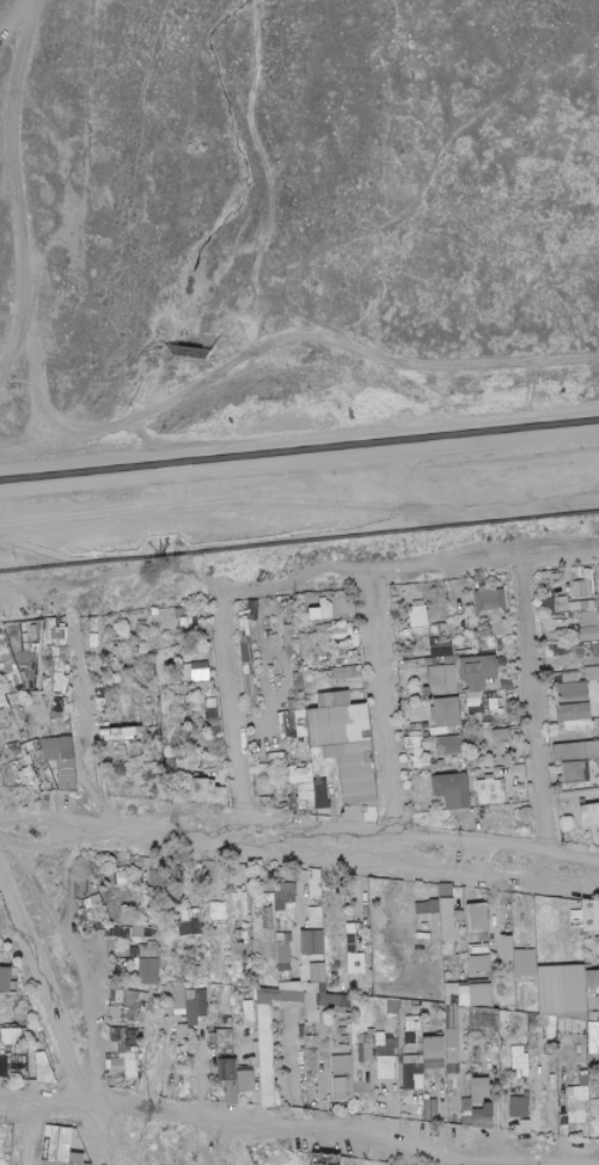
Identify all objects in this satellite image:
road: (17, 22)
road: (17, 183)
road: (172, 396)
road: (299, 437)
road: (299, 460)
road: (299, 527)
road: (4, 554)
road: (409, 565)
road: (110, 573)
building: (587, 581)
building: (592, 581)
building: (550, 585)
building: (506, 587)
building: (581, 587)
building: (324, 593)
building: (340, 593)
building: (352, 598)
building: (322, 599)
building: (561, 599)
building: (285, 600)
building: (418, 602)
building: (490, 602)
building: (549, 604)
building: (595, 604)
building: (302, 606)
building: (575, 606)
building: (253, 609)
building: (326, 610)
building: (181, 612)
building: (314, 612)
building: (126, 614)
building: (572, 615)
building: (483, 616)
building: (155, 617)
building: (511, 617)
building: (591, 617)
building: (90, 618)
building: (94, 620)
building: (141, 620)
building: (397, 621)
building: (420, 621)
building: (184, 622)
building: (268, 622)
building: (340, 624)
building: (325, 626)
building: (490, 626)
building: (507, 626)
building: (497, 627)
building: (287, 628)
building: (310, 628)
building: (145, 629)
building: (244, 629)
building: (355, 630)
building: (61, 632)
building: (329, 632)
building: (408, 632)
building: (579, 632)
building: (589, 633)
building: (51, 634)
building: (508, 634)
building: (30, 635)
building: (269, 635)
building: (288, 638)
building: (342, 638)
building: (463, 638)
building: (420, 639)
building: (355, 640)
building: (487, 641)
building: (548, 642)
building: (124, 644)
building: (550, 647)
building: (595, 647)
building: (579, 648)
building: (561, 649)
building: (6, 651)
building: (246, 652)
building: (359, 654)
building: (450, 659)
building: (430, 660)
building: (104, 661)
building: (411, 663)
building: (497, 665)
building: (591, 665)
building: (67, 666)
building: (11, 667)
building: (249, 667)
building: (472, 667)
building: (300, 669)
building: (201, 670)
building: (188, 671)
building: (271, 671)
building: (359, 671)
building: (344, 672)
building: (592, 672)
building: (328, 673)
building: (0, 675)
building: (354, 678)
building: (555, 678)
building: (18, 679)
building: (312, 679)
building: (318, 679)
building: (442, 679)
building: (306, 681)
building: (326, 681)
building: (336, 681)
building: (115, 682)
building: (35, 683)
building: (588, 683)
building: (10, 684)
building: (60, 684)
building: (317, 684)
building: (338, 685)
building: (476, 685)
building: (250, 689)
building: (280, 689)
building: (300, 690)
building: (318, 690)
building: (100, 691)
building: (308, 691)
building: (360, 691)
building: (427, 691)
building: (573, 693)
building: (316, 695)
building: (319, 696)
building: (43, 697)
building: (335, 699)
building: (408, 701)
building: (494, 702)
road: (536, 702)
building: (59, 706)
road: (233, 707)
building: (212, 708)
building: (251, 708)
building: (446, 710)
building: (573, 710)
road: (380, 715)
building: (409, 718)
building: (215, 721)
building: (204, 722)
building: (292, 722)
building: (302, 722)
building: (417, 722)
building: (55, 724)
building: (337, 725)
building: (582, 725)
building: (567, 726)
road: (81, 727)
building: (562, 727)
building: (139, 728)
building: (129, 730)
building: (446, 730)
building: (159, 731)
building: (216, 731)
building: (140, 732)
building: (517, 732)
building: (588, 732)
building: (111, 733)
building: (512, 733)
building: (500, 734)
building: (126, 736)
building: (295, 739)
building: (429, 739)
building: (123, 740)
building: (110, 743)
building: (451, 744)
building: (51, 746)
building: (67, 746)
building: (433, 746)
building: (126, 748)
building: (305, 749)
building: (591, 749)
building: (441, 750)
building: (569, 751)
building: (263, 761)
building: (66, 763)
building: (440, 763)
building: (172, 764)
building: (353, 767)
building: (575, 770)
building: (299, 774)
building: (27, 775)
building: (67, 779)
building: (172, 780)
building: (204, 788)
building: (452, 789)
building: (490, 789)
building: (292, 791)
building: (185, 792)
building: (320, 792)
building: (220, 798)
building: (302, 799)
building: (267, 800)
building: (582, 801)
building: (588, 803)
building: (282, 804)
building: (359, 811)
building: (463, 813)
building: (589, 813)
road: (178, 828)
road: (477, 843)
building: (159, 861)
building: (135, 862)
building: (130, 868)
road: (475, 872)
building: (300, 873)
building: (158, 874)
building: (122, 877)
building: (109, 880)
building: (132, 880)
building: (331, 883)
building: (124, 884)
building: (317, 884)
building: (434, 889)
building: (446, 891)
building: (155, 893)
building: (484, 897)
building: (147, 899)
building: (263, 902)
building: (319, 902)
building: (240, 903)
building: (287, 903)
building: (115, 904)
building: (434, 905)
building: (276, 907)
building: (422, 907)
building: (152, 909)
building: (338, 911)
building: (219, 913)
building: (463, 913)
building: (458, 915)
building: (187, 916)
building: (238, 916)
building: (268, 916)
building: (477, 916)
building: (591, 916)
building: (316, 919)
building: (447, 919)
building: (577, 919)
building: (140, 921)
building: (149, 922)
building: (463, 923)
building: (191, 926)
building: (237, 926)
building: (286, 926)
building: (508, 926)
building: (117, 931)
building: (147, 931)
building: (282, 931)
building: (127, 932)
building: (136, 933)
building: (243, 935)
building: (280, 937)
building: (288, 937)
building: (109, 938)
building: (352, 938)
building: (129, 939)
building: (154, 940)
building: (312, 941)
building: (507, 947)
building: (524, 947)
building: (148, 950)
building: (134, 951)
building: (283, 951)
building: (450, 953)
building: (312, 959)
building: (464, 959)
building: (508, 962)
building: (283, 963)
building: (357, 963)
building: (479, 963)
building: (153, 964)
building: (283, 972)
building: (13, 974)
building: (153, 977)
building: (5, 978)
building: (317, 978)
building: (592, 978)
building: (289, 984)
building: (13, 986)
building: (170, 992)
building: (452, 993)
building: (464, 993)
building: (479, 994)
building: (118, 995)
building: (280, 995)
building: (369, 995)
building: (592, 999)
building: (171, 1000)
building: (335, 1000)
building: (136, 1001)
building: (311, 1001)
building: (23, 1002)
building: (264, 1002)
building: (143, 1005)
building: (196, 1005)
building: (247, 1005)
building: (158, 1011)
building: (208, 1011)
building: (126, 1012)
building: (24, 1015)
building: (142, 1015)
building: (452, 1015)
building: (593, 1015)
building: (464, 1017)
building: (481, 1017)
building: (227, 1020)
building: (542, 1020)
building: (132, 1023)
building: (300, 1023)
building: (494, 1024)
building: (572, 1025)
building: (16, 1026)
building: (349, 1027)
road: (48, 1029)
building: (115, 1029)
building: (371, 1030)
building: (412, 1031)
building: (14, 1032)
building: (246, 1032)
building: (453, 1032)
building: (128, 1033)
building: (551, 1033)
building: (440, 1035)
building: (564, 1036)
building: (593, 1036)
building: (35, 1037)
building: (380, 1038)
building: (496, 1038)
building: (177, 1039)
building: (213, 1039)
building: (225, 1039)
building: (475, 1042)
building: (122, 1045)
building: (133, 1045)
building: (367, 1047)
building: (10, 1048)
building: (141, 1050)
building: (17, 1051)
building: (38, 1053)
building: (433, 1053)
building: (126, 1054)
building: (226, 1054)
building: (48, 1055)
building: (141, 1055)
building: (267, 1055)
building: (312, 1055)
building: (453, 1056)
building: (14, 1059)
building: (397, 1060)
building: (385, 1062)
building: (130, 1063)
building: (466, 1063)
building: (120, 1065)
building: (16, 1067)
building: (1, 1068)
building: (244, 1068)
building: (139, 1069)
building: (472, 1071)
building: (429, 1072)
building: (120, 1074)
building: (134, 1075)
building: (344, 1075)
building: (583, 1075)
building: (24, 1076)
building: (228, 1078)
building: (412, 1078)
building: (550, 1078)
building: (245, 1080)
building: (453, 1081)
building: (341, 1085)
building: (594, 1085)
building: (136, 1086)
building: (479, 1088)
building: (579, 1093)
building: (245, 1094)
building: (427, 1097)
building: (501, 1100)
building: (380, 1103)
building: (318, 1105)
building: (362, 1105)
building: (477, 1105)
building: (519, 1106)
building: (330, 1108)
building: (432, 1110)
building: (466, 1111)
building: (575, 1115)
building: (483, 1116)
building: (528, 1118)
building: (563, 1118)
building: (526, 1123)
road: (299, 1126)
road: (33, 1132)
road: (231, 1141)
building: (59, 1143)
building: (77, 1157)
building: (85, 1158)
building: (326, 1159)
building: (56, 1163)
building: (320, 1164)

